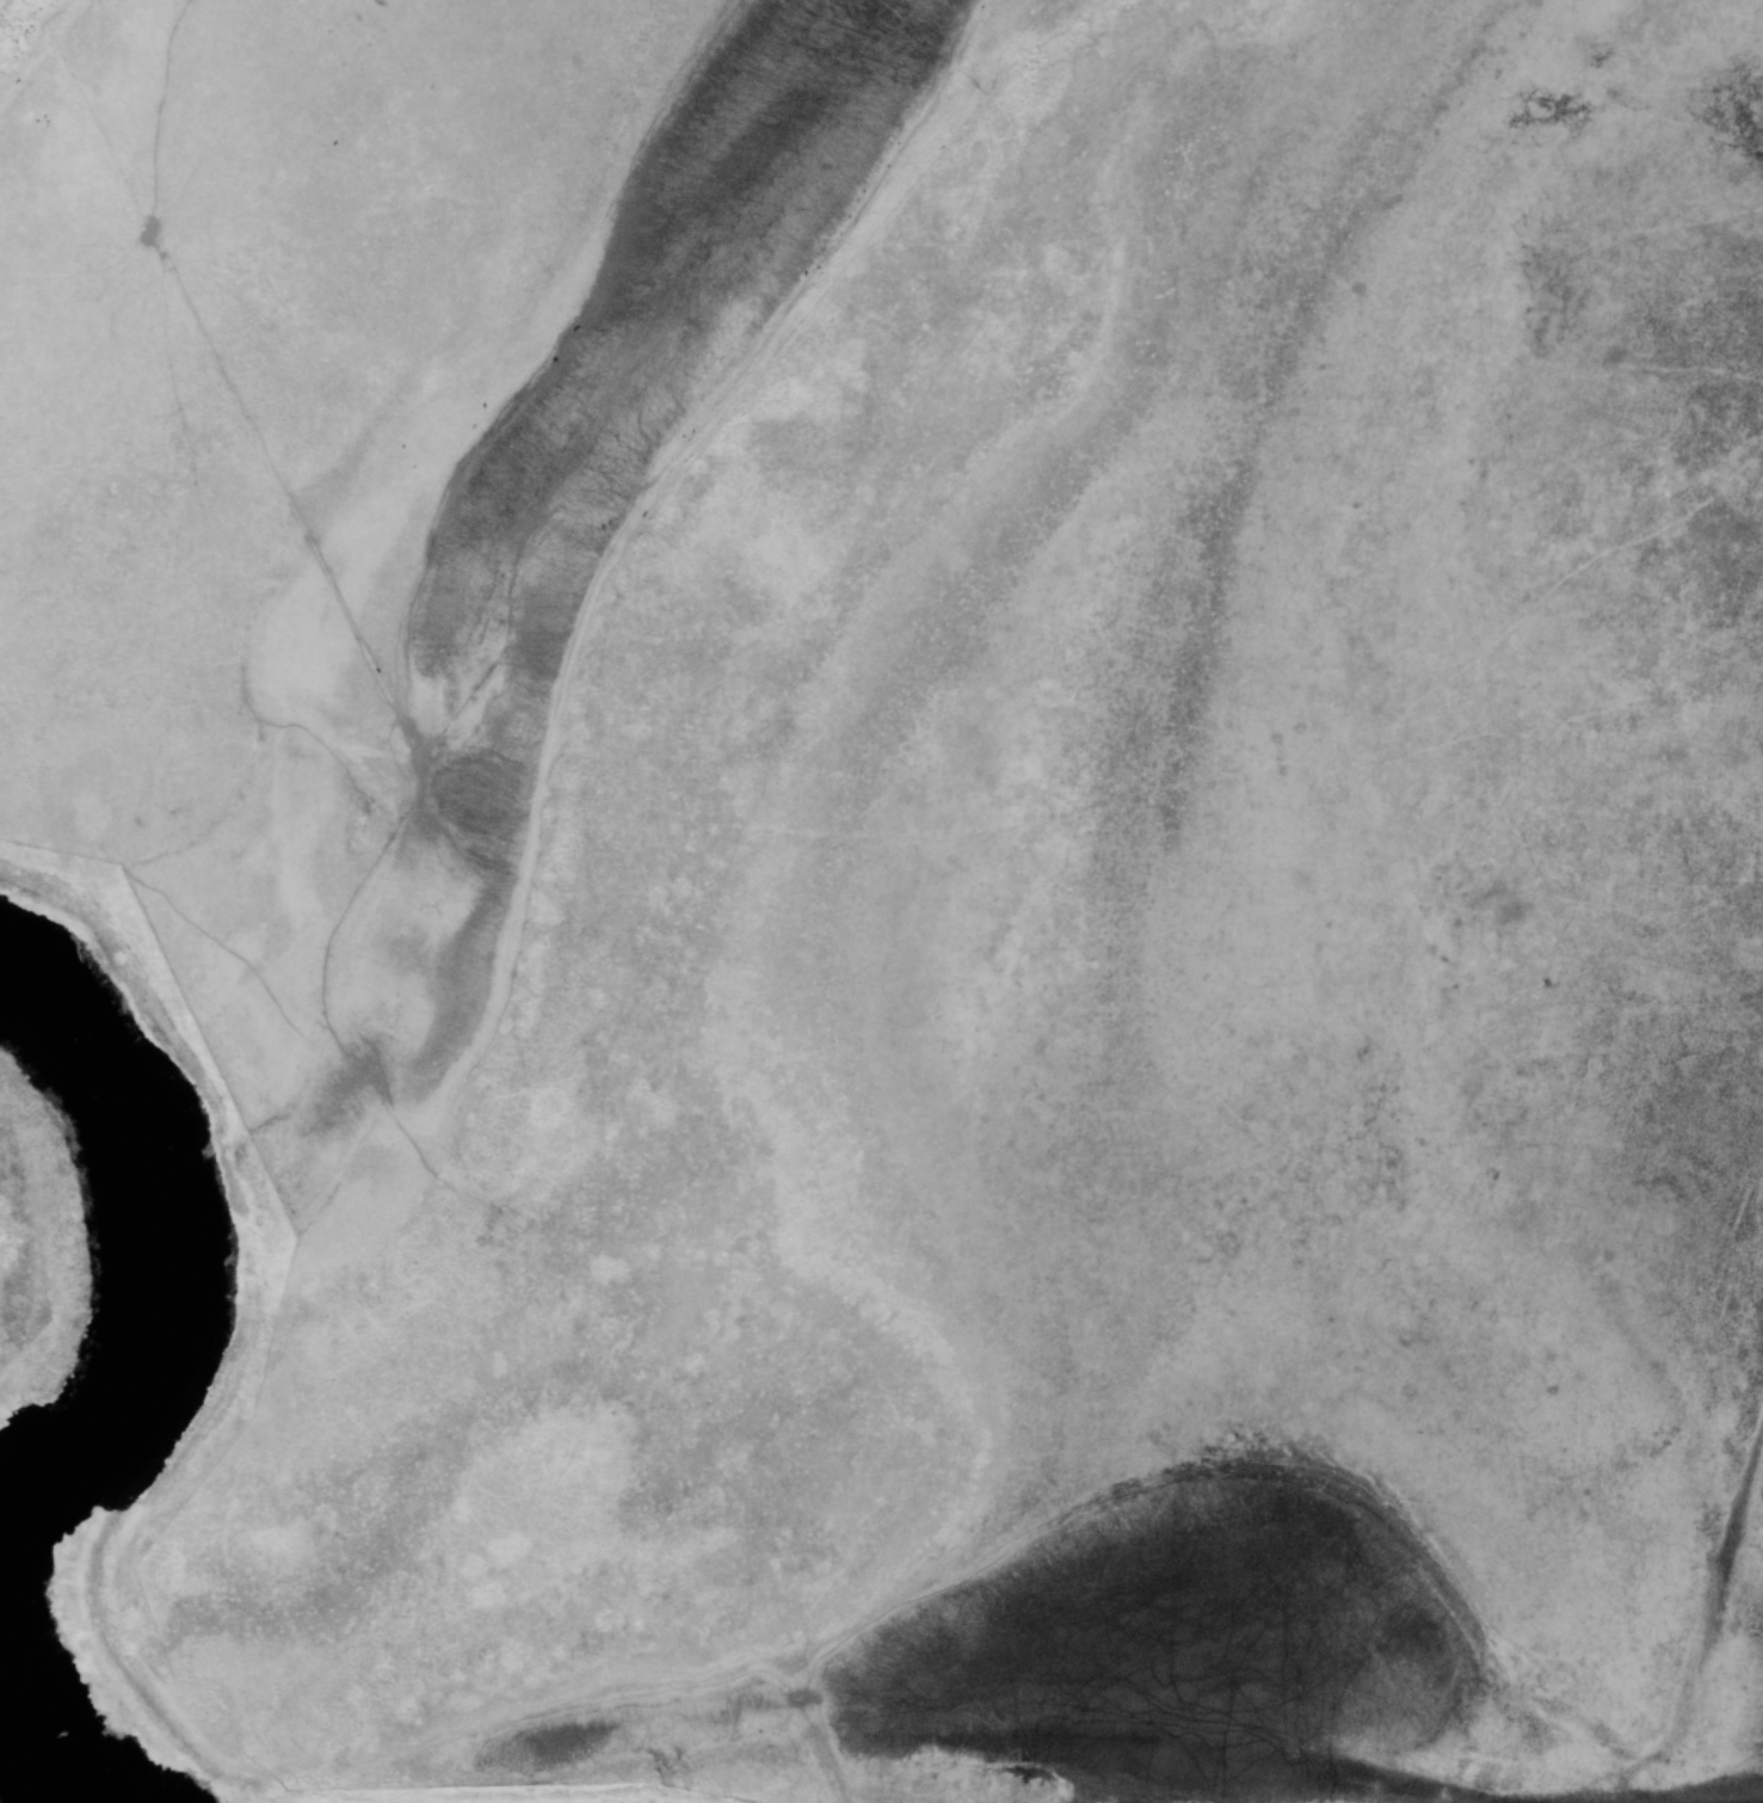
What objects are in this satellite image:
river: (141, 1285)
river: (19, 1746)

